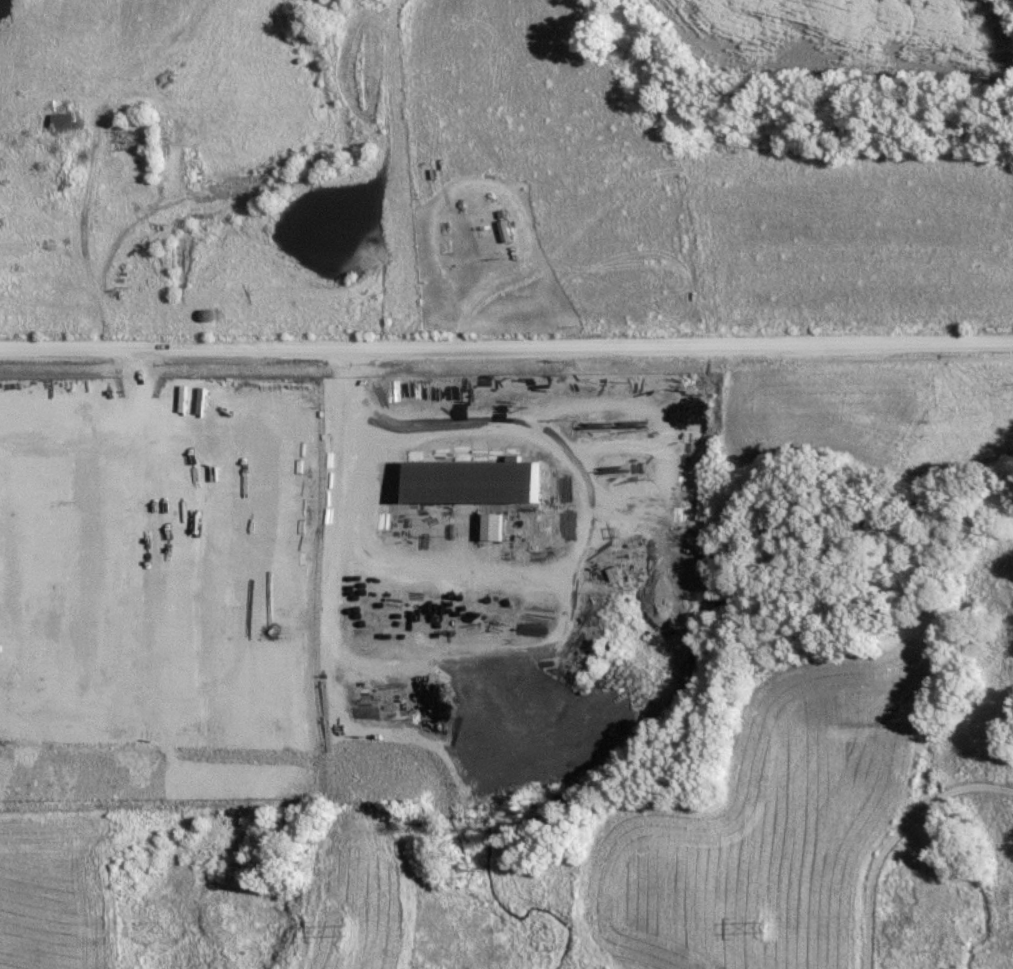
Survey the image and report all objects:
building: (69, 116)
road: (87, 204)
road: (118, 235)
road: (506, 344)
road: (471, 431)
building: (478, 480)
building: (496, 525)
power tower: (768, 927)
power tower: (359, 935)

